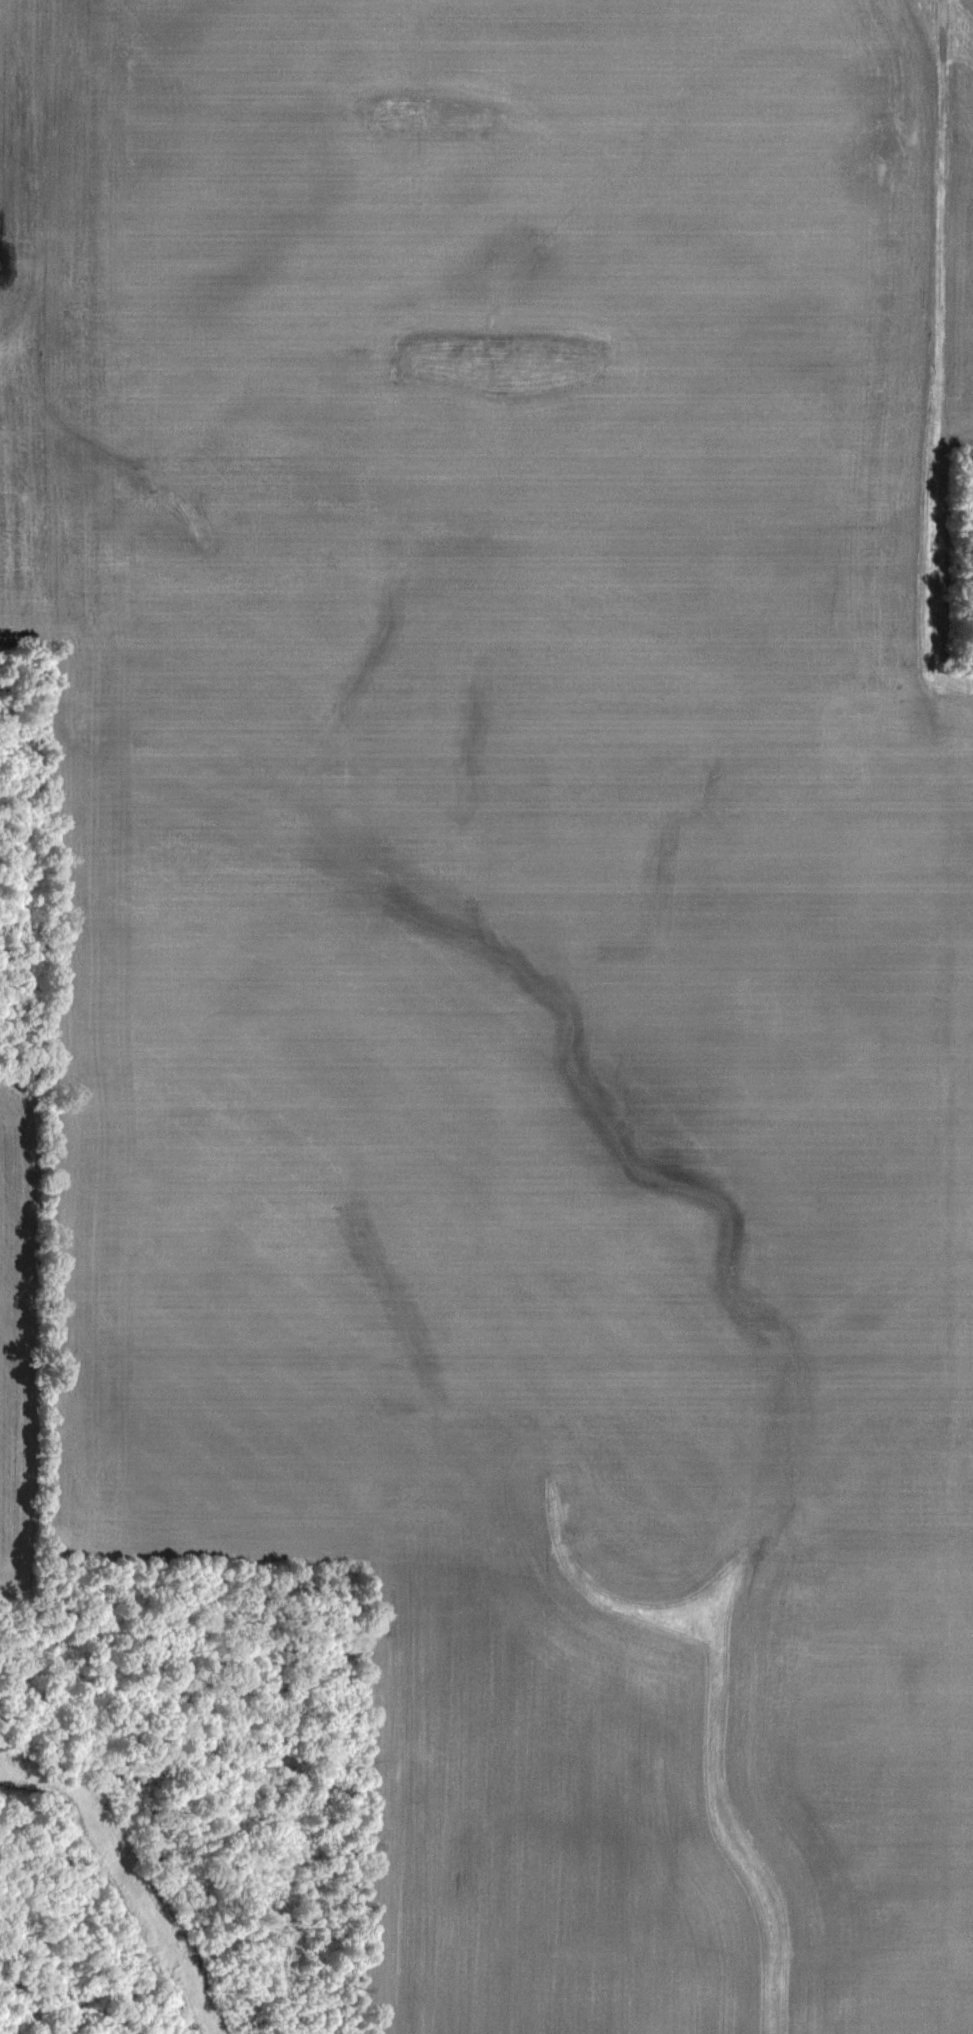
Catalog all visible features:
crop: (486, 1017)

